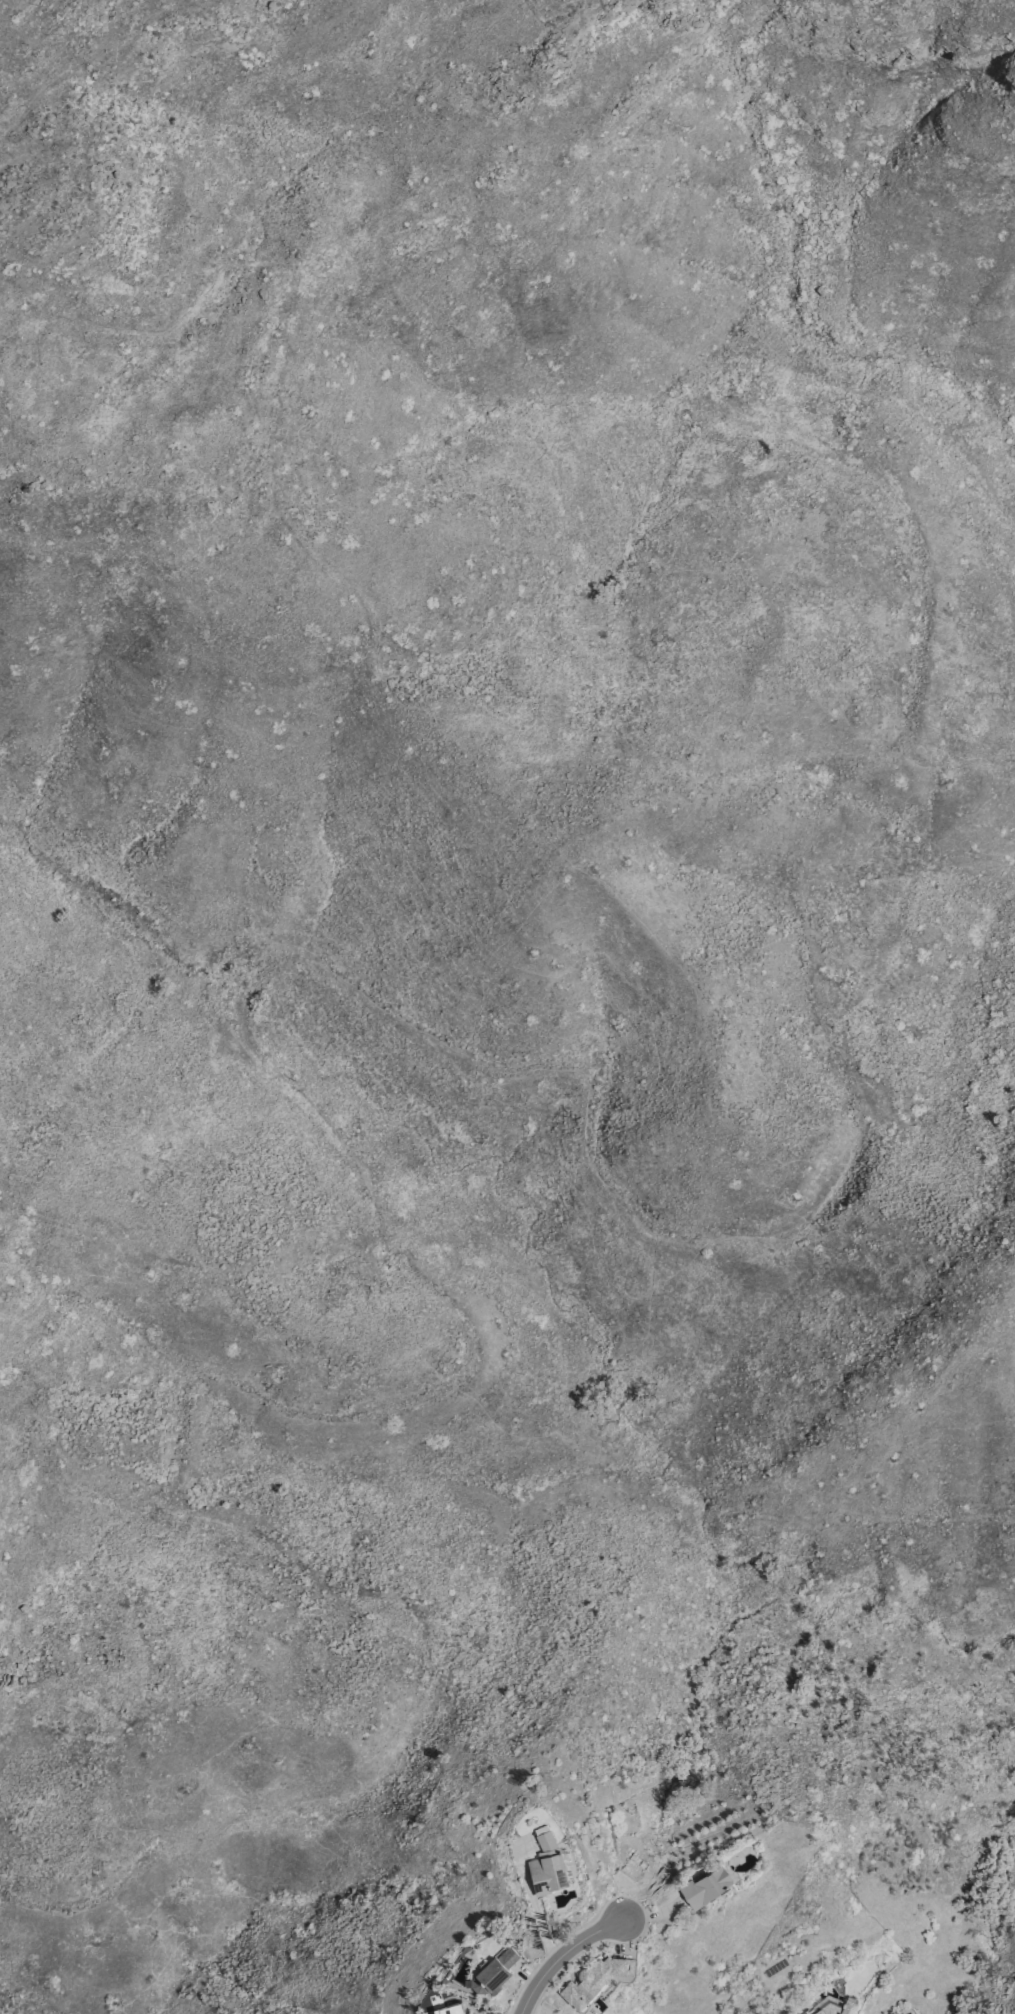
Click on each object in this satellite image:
road: (915, 422)
road: (230, 915)
building: (643, 1867)
building: (705, 1885)
road: (538, 1913)
road: (564, 1955)
building: (493, 1971)
building: (594, 1982)
building: (839, 2008)
building: (449, 2009)
building: (808, 2012)

